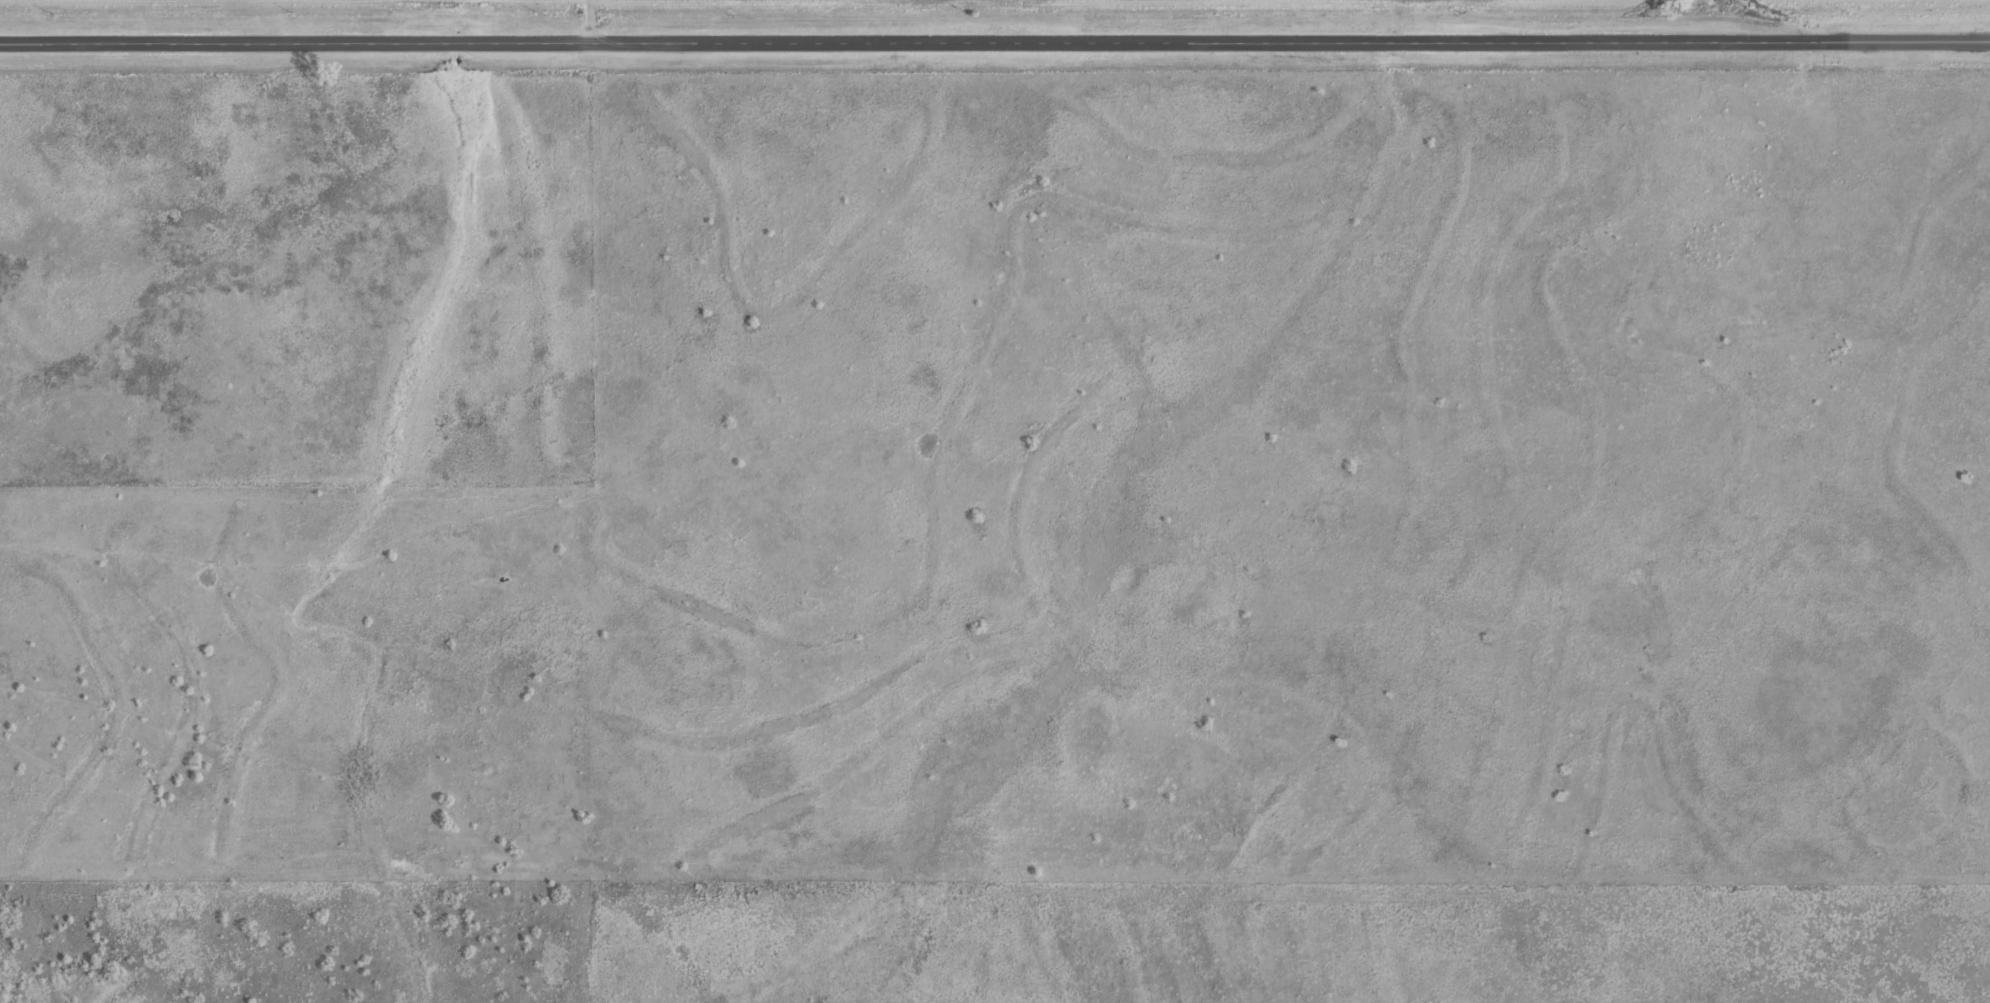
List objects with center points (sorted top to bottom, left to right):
road: (606, 24)
road: (995, 49)

